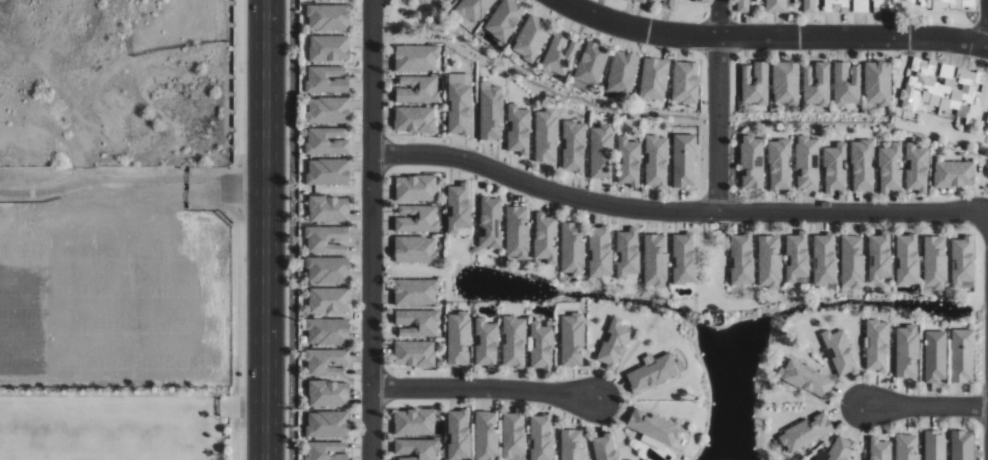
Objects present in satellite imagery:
building: (449, 1)
building: (641, 1)
building: (669, 4)
building: (945, 4)
building: (860, 5)
building: (743, 6)
building: (776, 6)
building: (809, 6)
building: (472, 9)
building: (328, 17)
building: (504, 19)
road: (771, 37)
building: (531, 38)
road: (987, 41)
building: (329, 47)
building: (559, 53)
building: (415, 57)
building: (592, 62)
building: (622, 72)
building: (326, 79)
building: (654, 79)
building: (685, 82)
building: (786, 82)
building: (877, 82)
building: (755, 83)
building: (846, 83)
building: (816, 84)
building: (417, 89)
building: (942, 89)
building: (459, 103)
road: (718, 106)
building: (328, 110)
building: (490, 111)
building: (414, 119)
building: (518, 129)
building: (545, 134)
building: (326, 141)
building: (574, 146)
building: (601, 151)
building: (657, 160)
building: (684, 160)
building: (629, 161)
building: (752, 161)
building: (807, 162)
building: (779, 164)
building: (862, 165)
building: (835, 167)
building: (890, 167)
building: (917, 168)
building: (328, 171)
building: (954, 173)
building: (415, 188)
road: (134, 193)
building: (329, 208)
building: (459, 209)
road: (676, 211)
building: (417, 218)
building: (490, 222)
road: (371, 229)
road: (268, 230)
building: (517, 232)
building: (545, 237)
building: (326, 239)
building: (415, 249)
building: (572, 249)
building: (600, 251)
building: (627, 252)
building: (797, 257)
building: (880, 257)
building: (684, 258)
building: (742, 259)
building: (825, 259)
building: (655, 260)
building: (907, 260)
building: (769, 262)
building: (852, 262)
building: (935, 262)
building: (963, 262)
building: (328, 269)
building: (416, 292)
building: (329, 300)
building: (416, 322)
building: (328, 331)
building: (459, 338)
building: (572, 339)
building: (514, 341)
building: (615, 342)
building: (486, 343)
building: (541, 344)
building: (877, 345)
building: (907, 351)
building: (841, 352)
building: (414, 354)
building: (935, 355)
building: (962, 355)
building: (326, 361)
building: (653, 371)
building: (806, 378)
road: (484, 389)
building: (329, 393)
road: (925, 407)
building: (414, 421)
building: (328, 424)
building: (657, 428)
building: (806, 432)
building: (458, 434)
building: (514, 435)
building: (486, 436)
building: (541, 437)
building: (571, 444)
building: (935, 445)
building: (962, 445)
building: (605, 447)
building: (906, 447)
building: (416, 449)
building: (880, 449)
building: (326, 450)
building: (838, 450)

